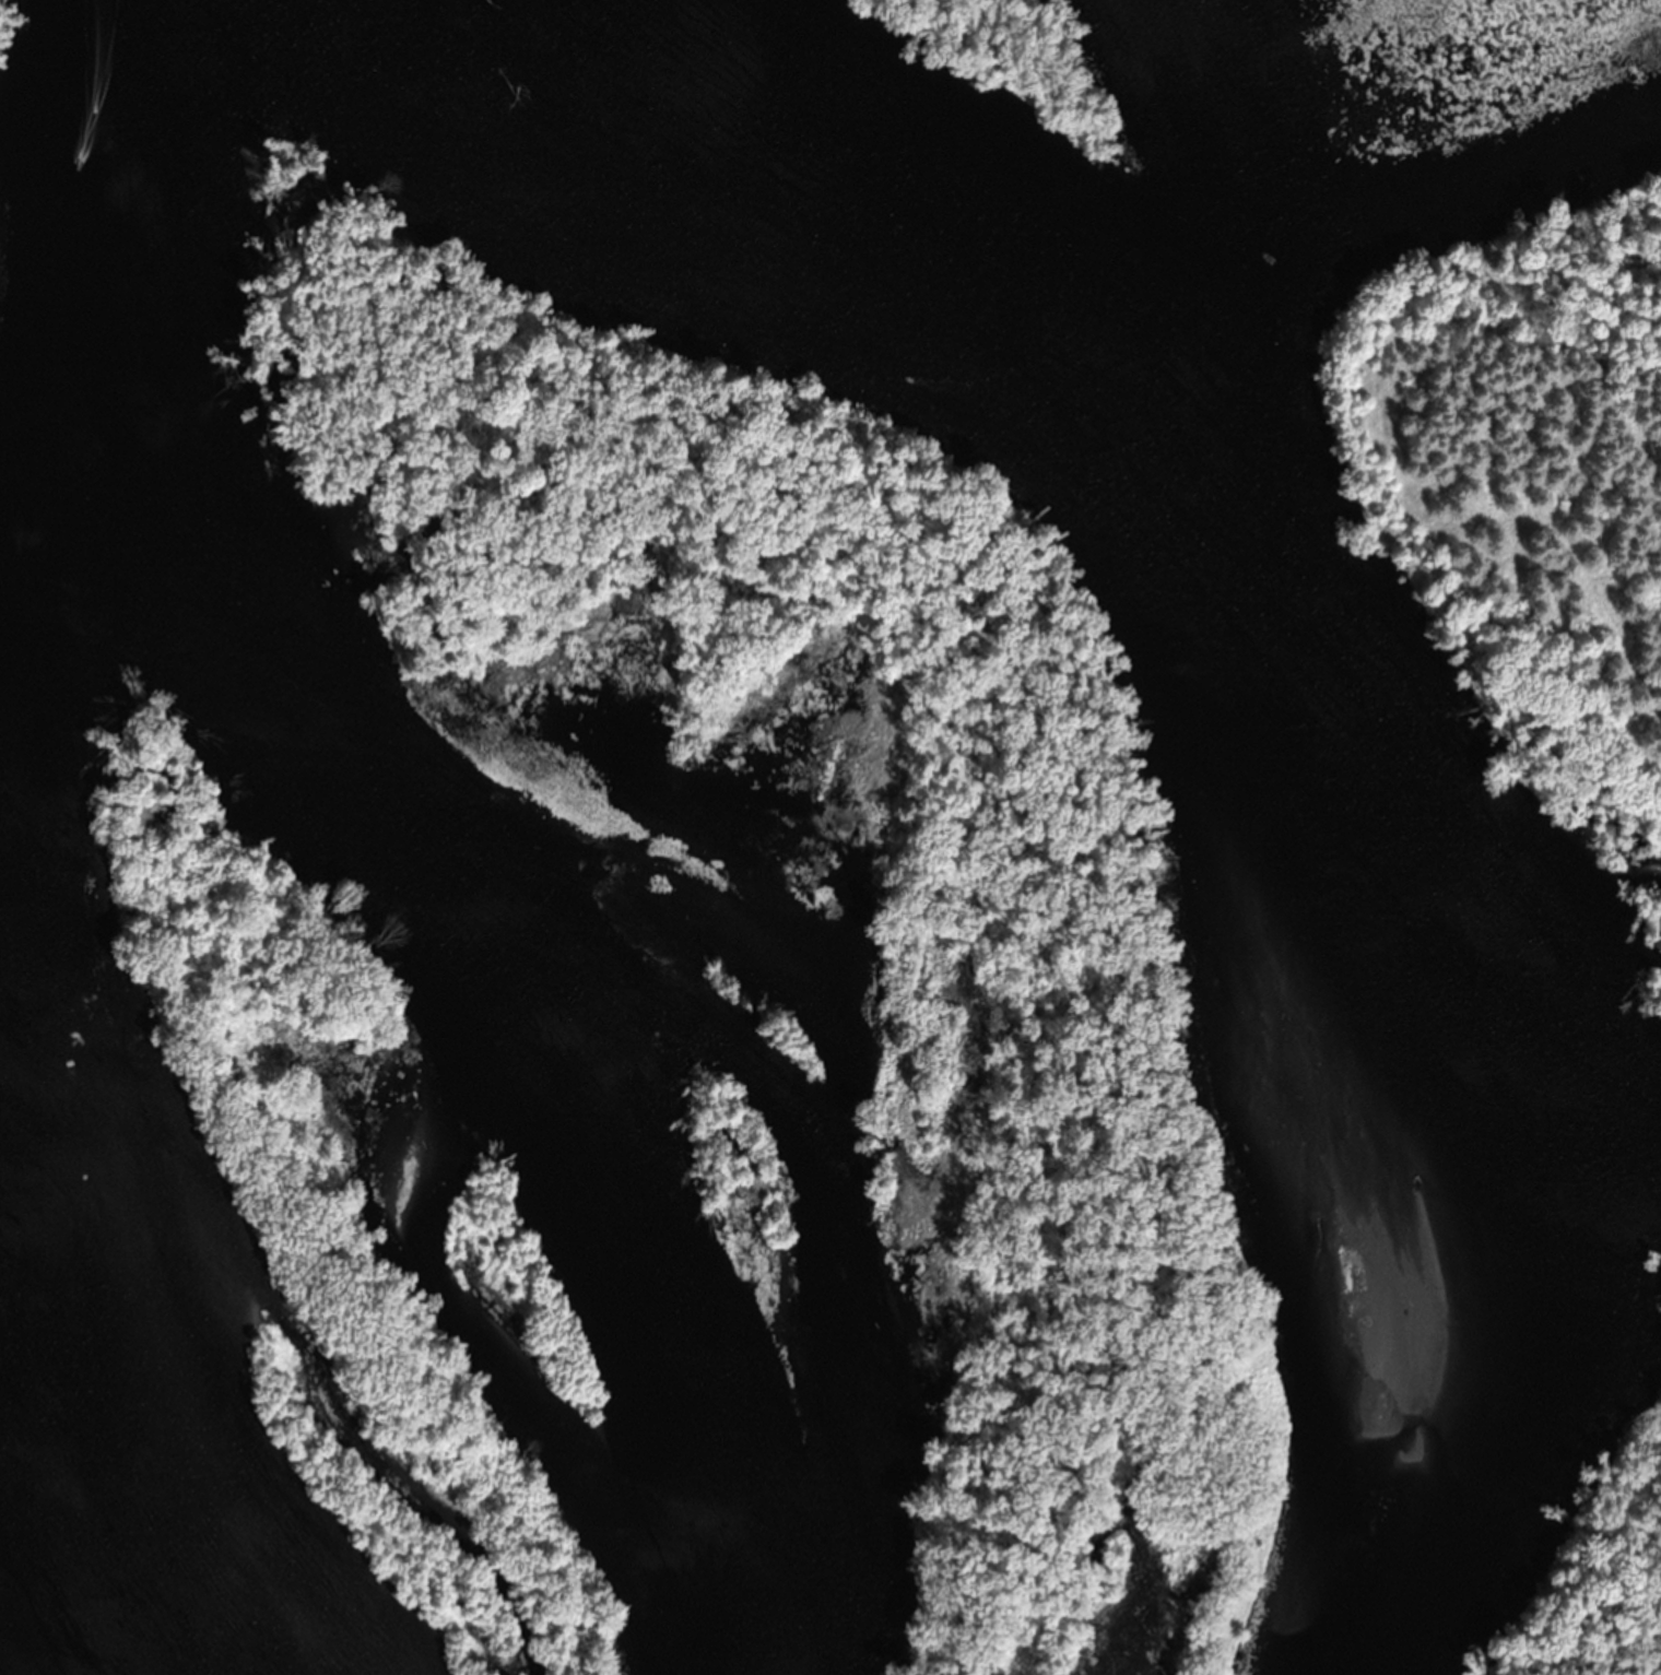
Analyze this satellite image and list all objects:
river: (76, 445)
river: (111, 1399)

